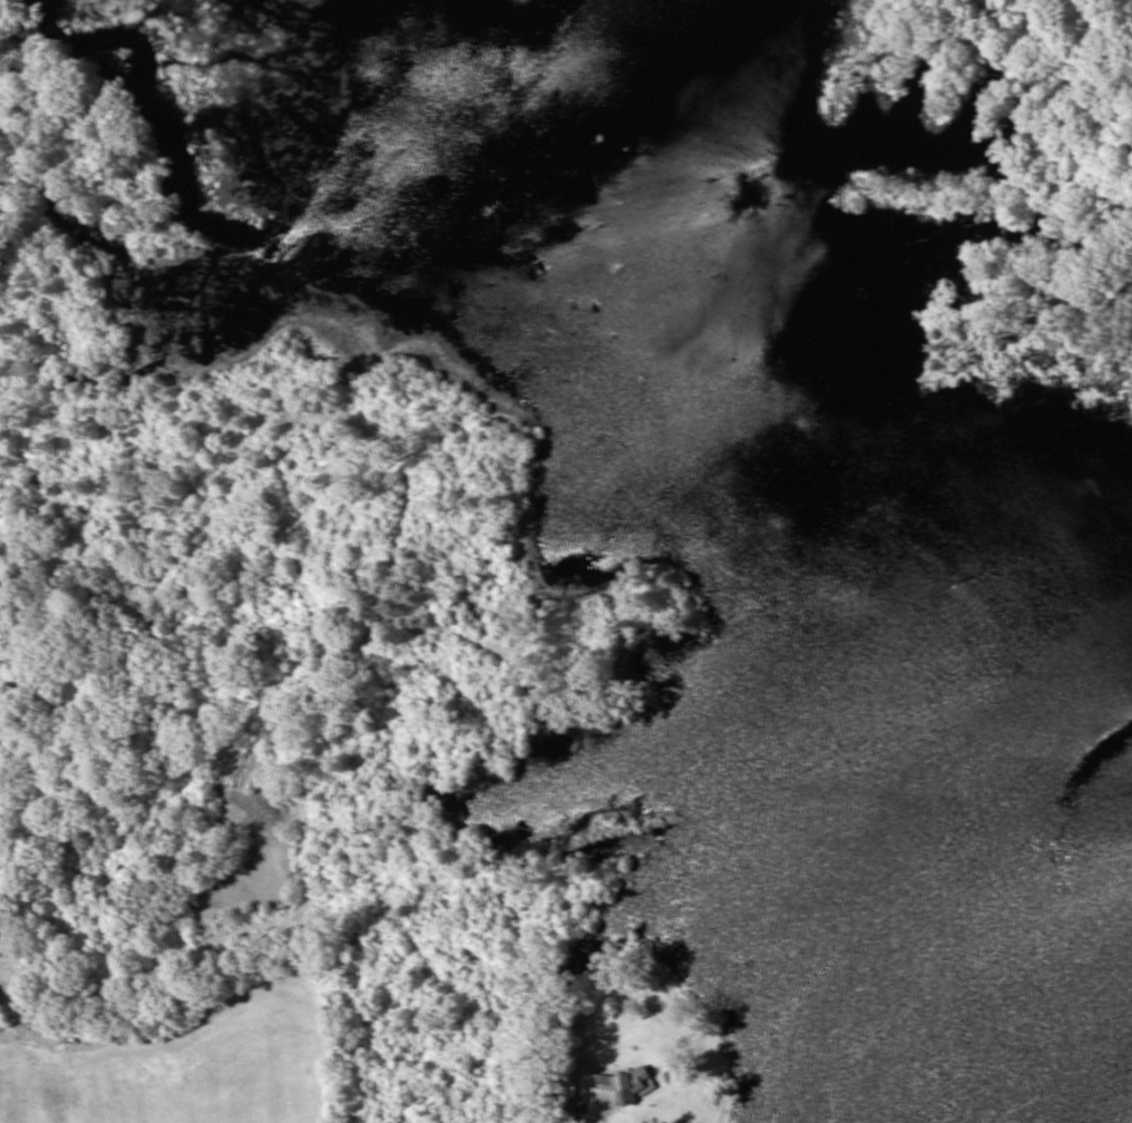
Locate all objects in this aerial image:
building: (1, 735)
road: (38, 1048)
building: (625, 1085)

